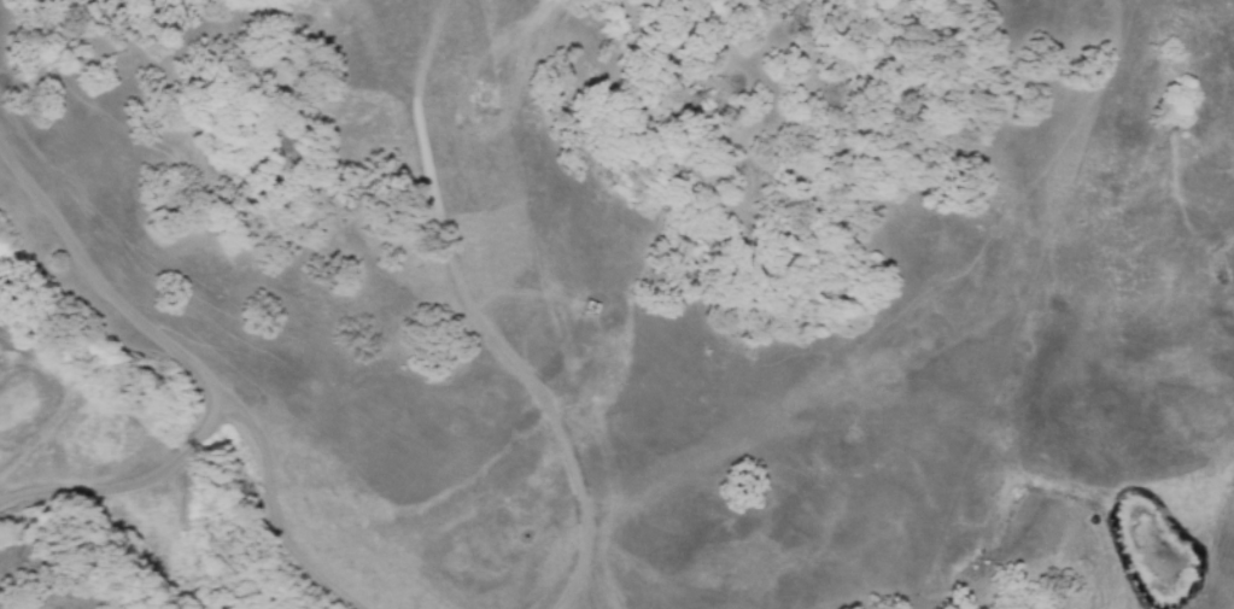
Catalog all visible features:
road: (511, 362)
road: (195, 367)
road: (128, 487)

